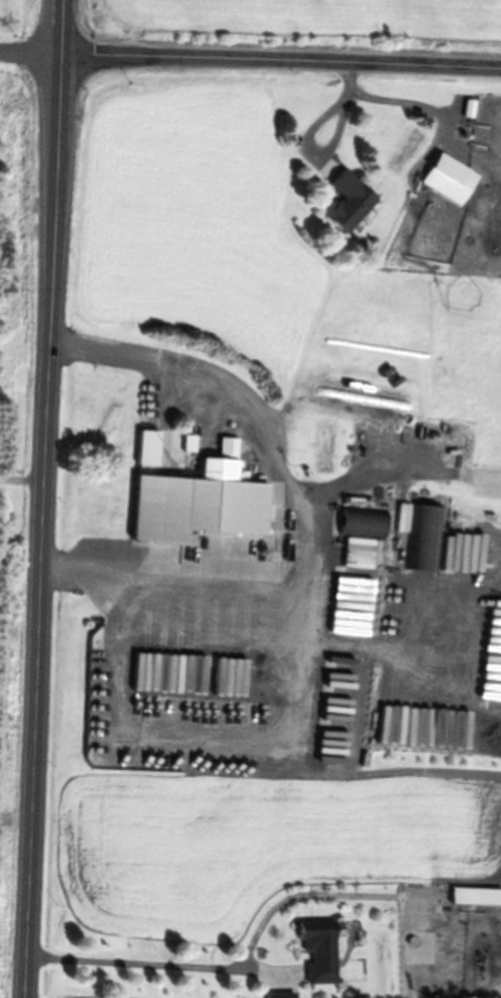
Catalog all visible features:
road: (32, 49)
road: (283, 53)
building: (452, 179)
building: (350, 200)
road: (46, 498)
building: (202, 502)
building: (363, 522)
building: (423, 537)
building: (463, 554)
building: (466, 896)
building: (323, 953)

